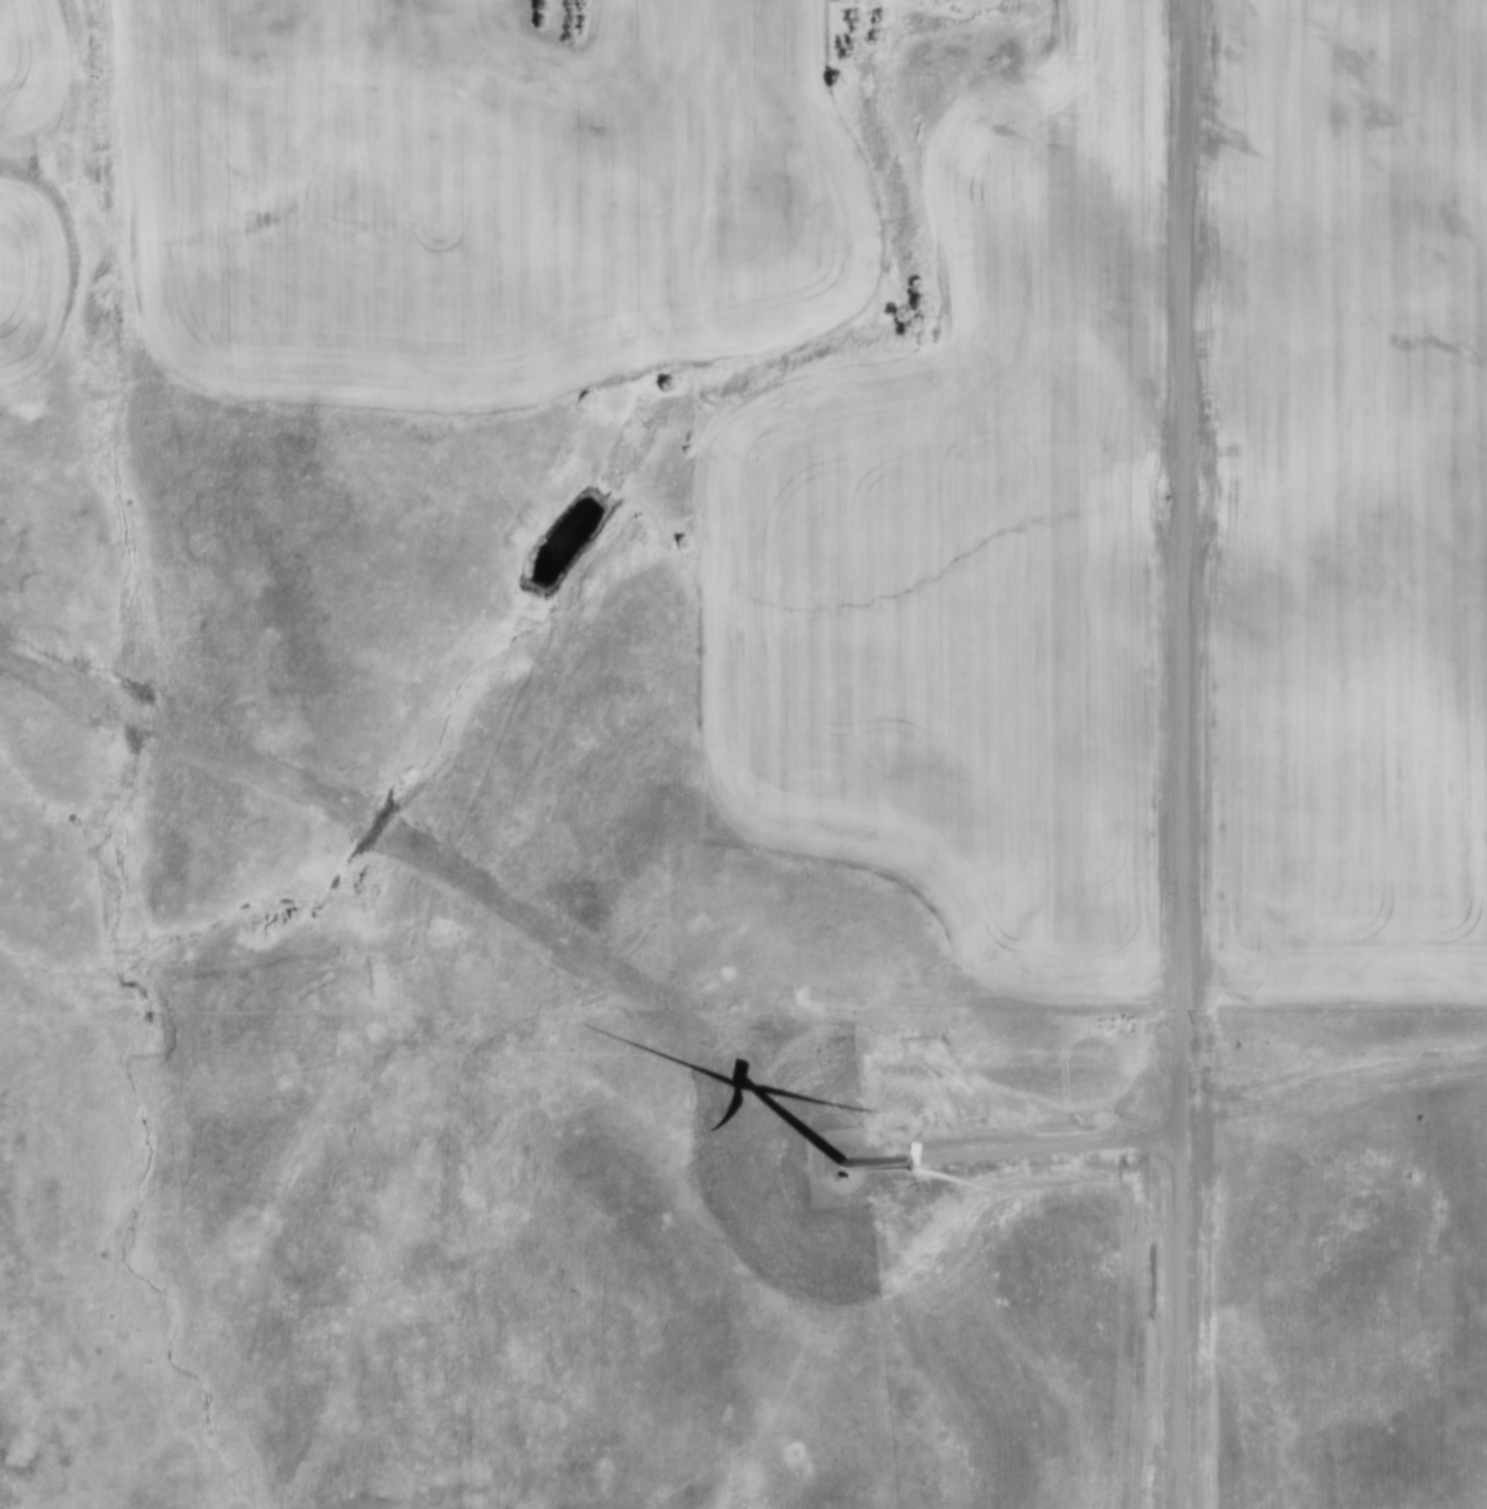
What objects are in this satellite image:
wind turbine: (839, 1167)

